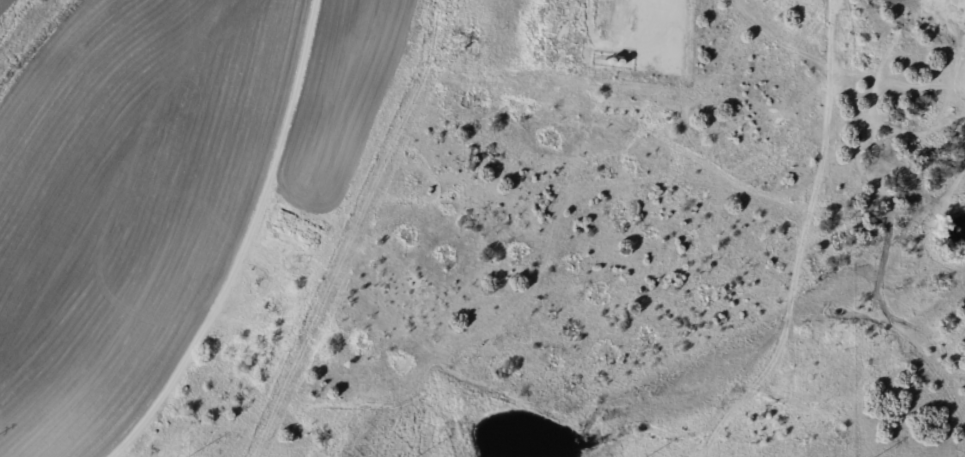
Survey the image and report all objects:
road: (85, 44)

